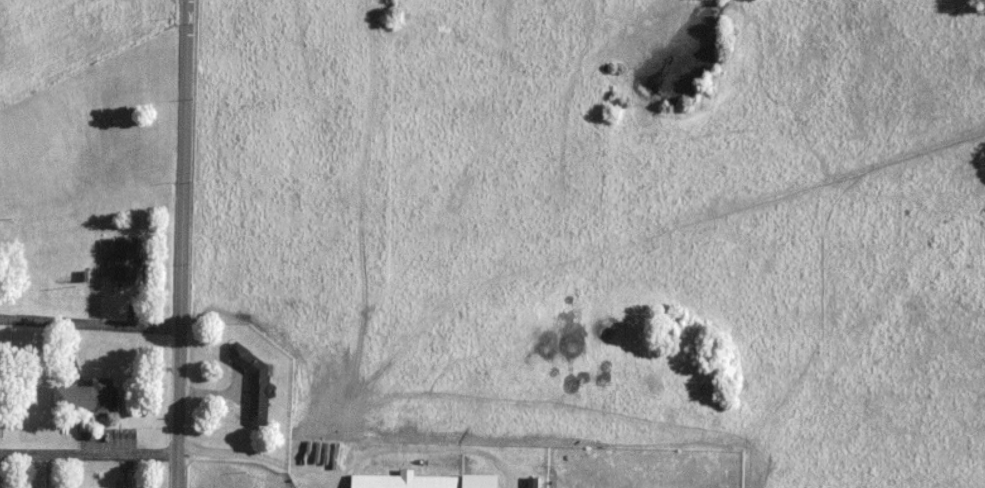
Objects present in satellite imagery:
road: (185, 243)
building: (127, 259)
road: (91, 322)
building: (257, 385)
building: (86, 398)
road: (90, 451)
road: (352, 463)
building: (406, 481)
building: (533, 483)

